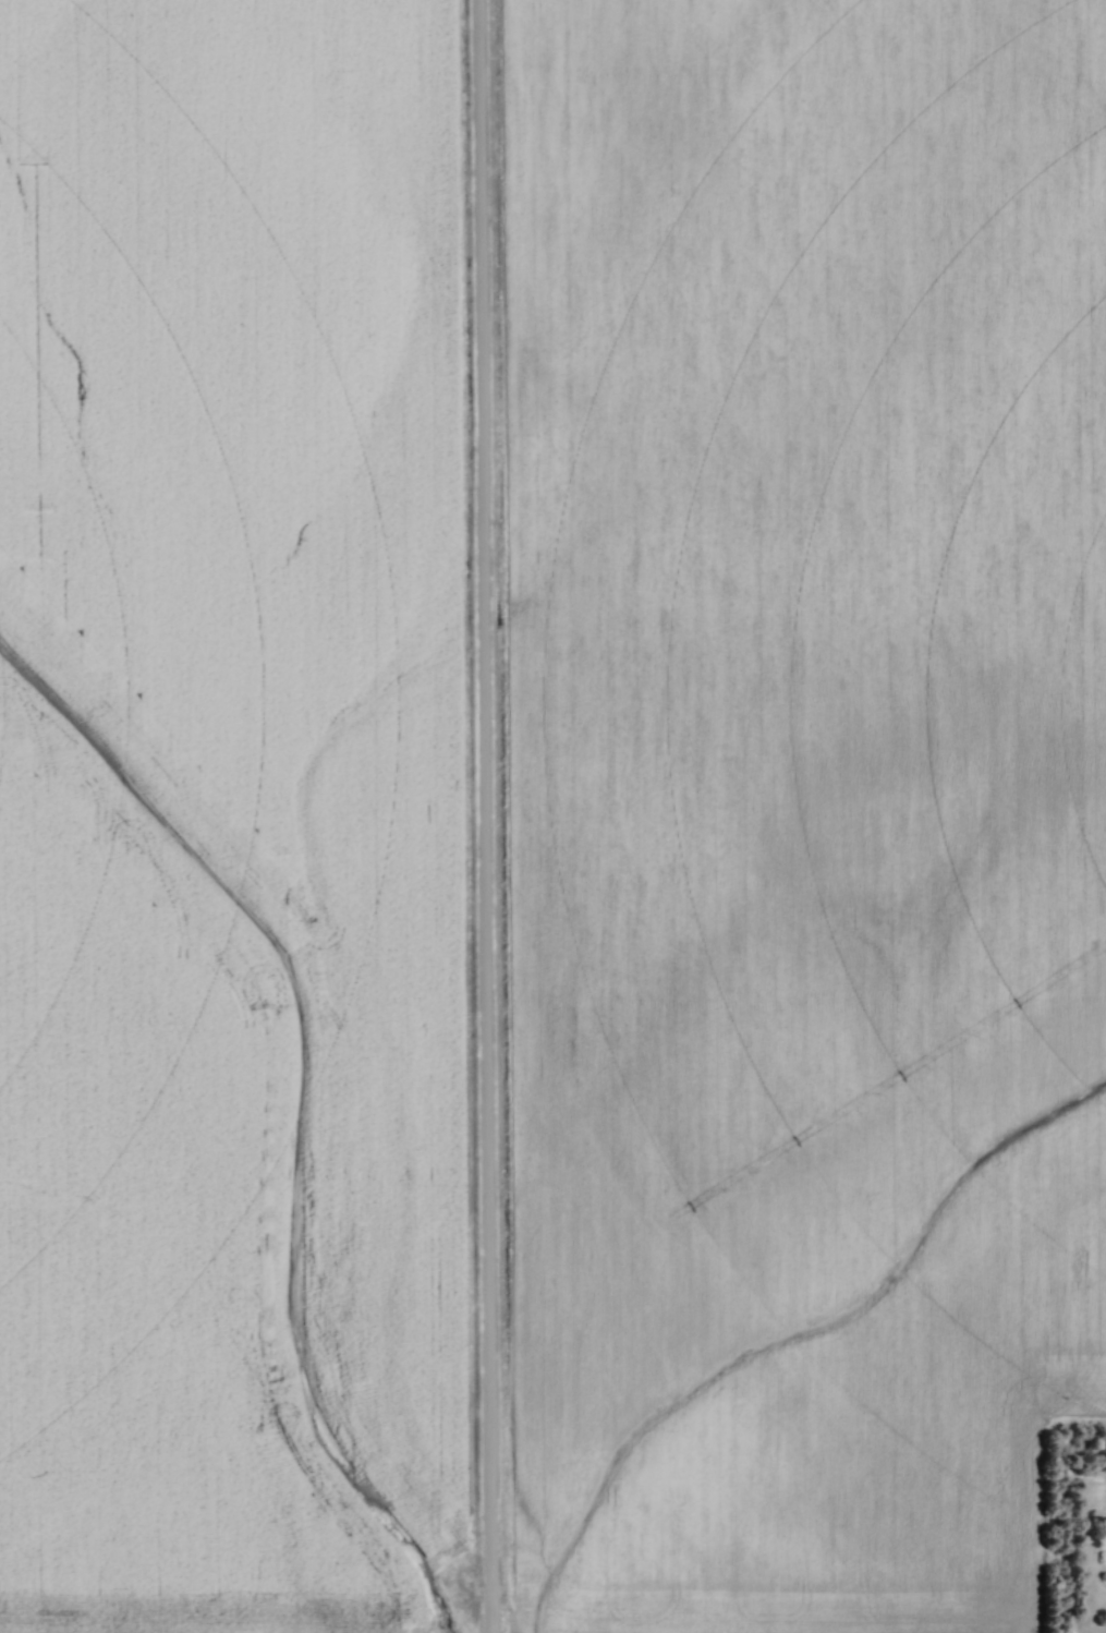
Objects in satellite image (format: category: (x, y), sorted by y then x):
road: (484, 815)

